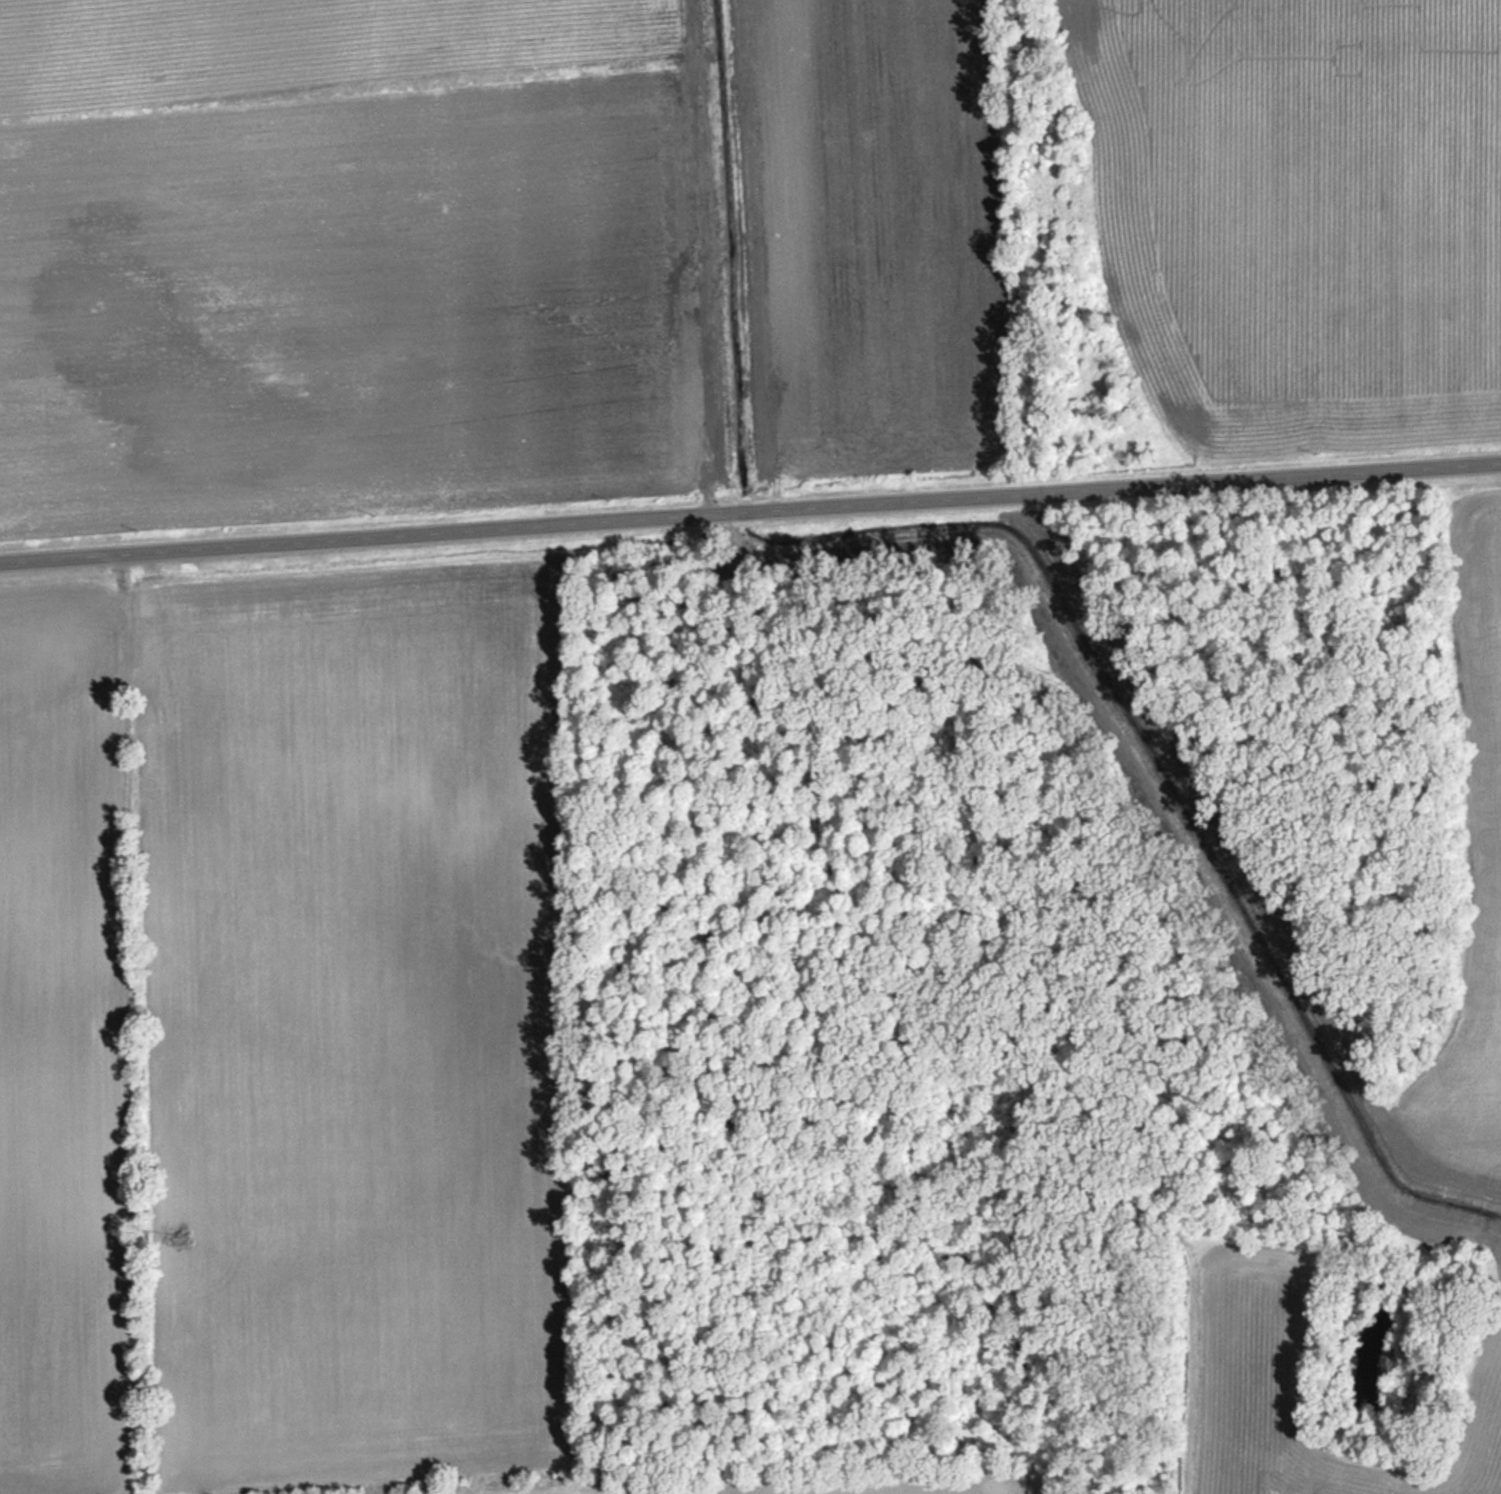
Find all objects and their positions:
road: (750, 511)

